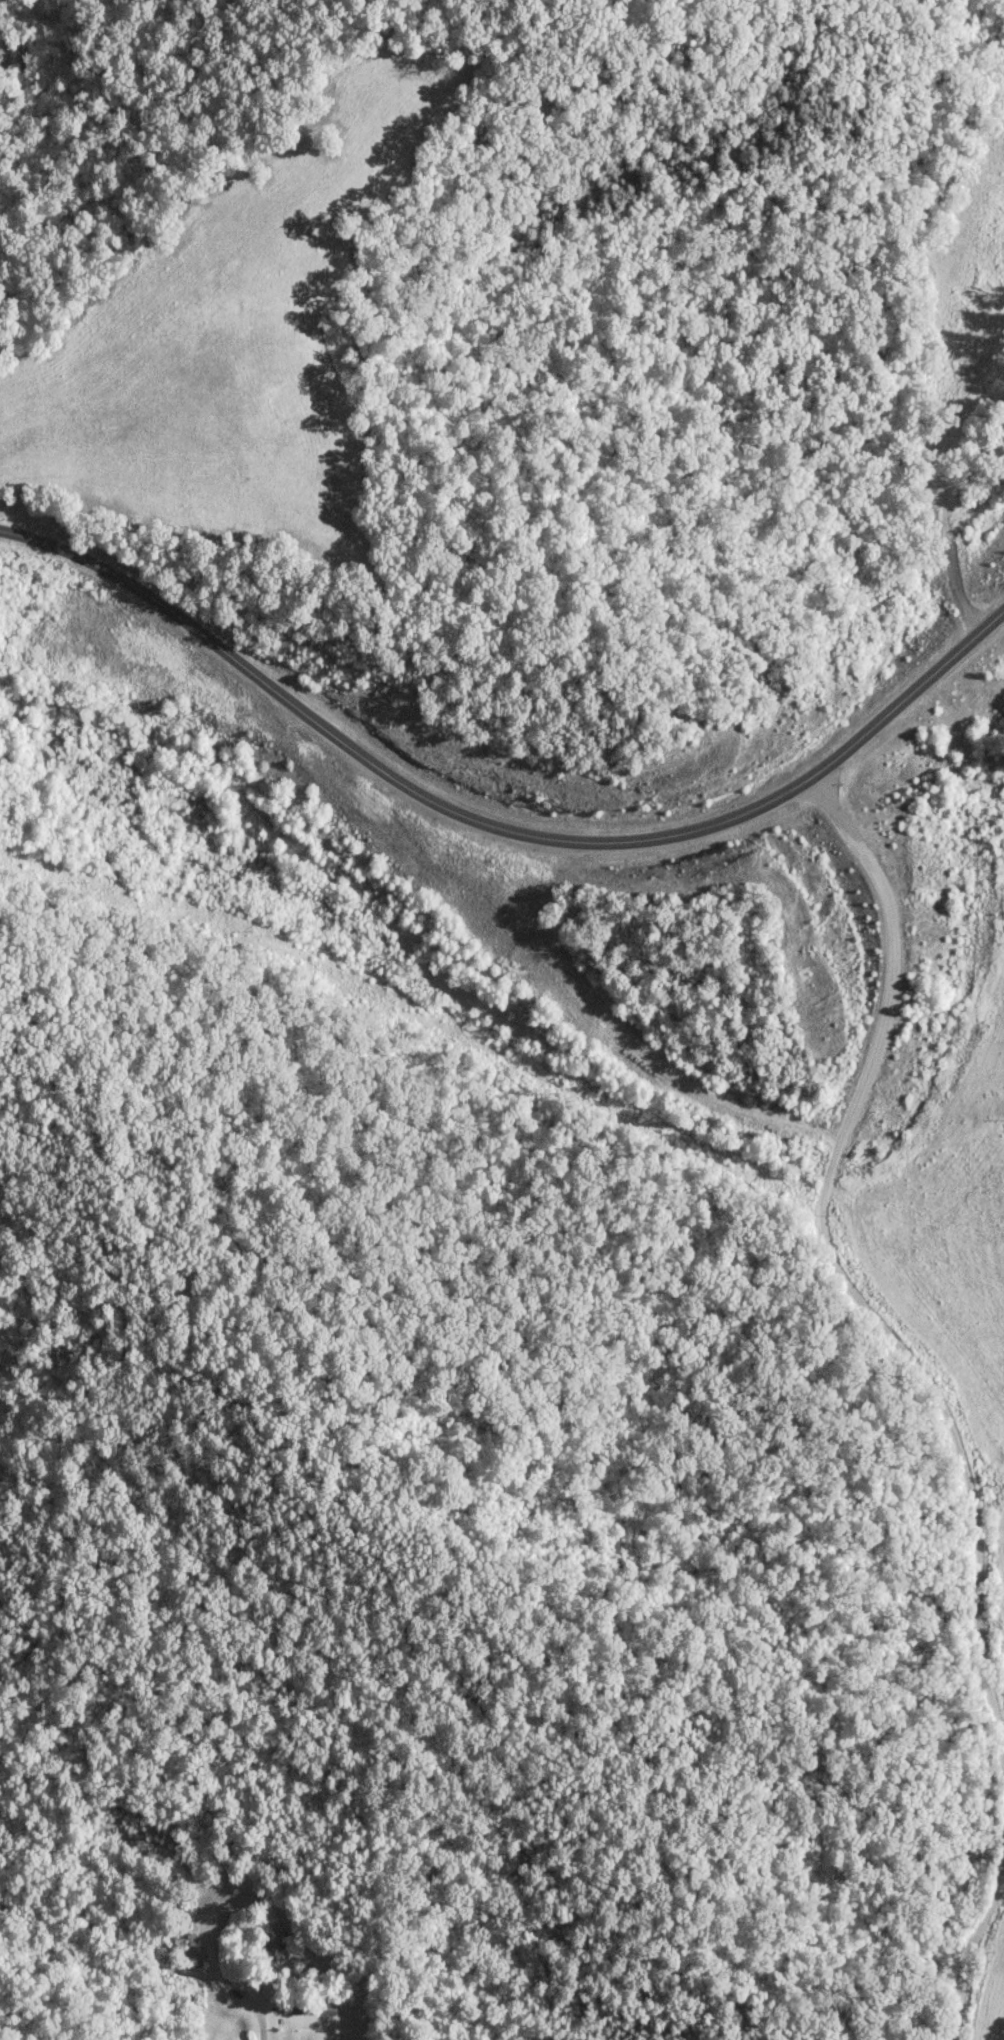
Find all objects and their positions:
road: (499, 822)
road: (843, 1249)
road: (977, 1953)

